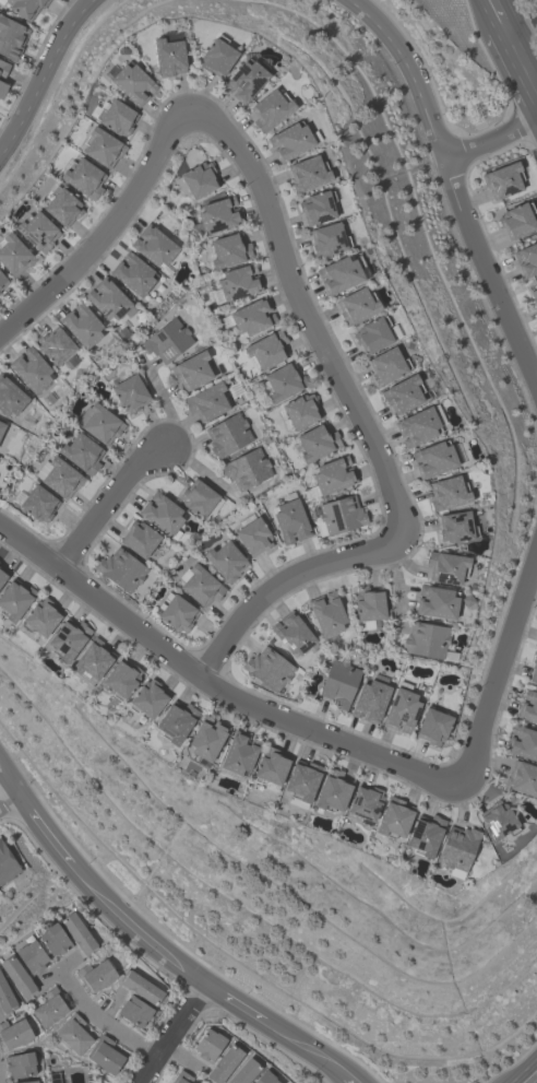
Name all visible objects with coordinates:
building: (25, 7)
road: (496, 15)
road: (520, 23)
building: (11, 37)
building: (168, 56)
building: (217, 56)
road: (520, 66)
building: (3, 69)
road: (39, 71)
road: (403, 73)
building: (246, 80)
building: (132, 83)
building: (2, 89)
building: (271, 109)
building: (112, 115)
road: (490, 138)
building: (290, 140)
building: (102, 146)
building: (308, 173)
building: (83, 177)
building: (196, 179)
building: (502, 179)
building: (62, 205)
building: (317, 207)
building: (218, 214)
building: (516, 220)
road: (96, 228)
building: (37, 231)
building: (329, 239)
building: (154, 245)
building: (229, 249)
building: (13, 255)
building: (526, 259)
building: (341, 272)
building: (133, 273)
building: (2, 281)
building: (236, 283)
road: (486, 294)
building: (534, 295)
building: (108, 299)
road: (287, 302)
building: (357, 305)
building: (250, 317)
building: (81, 325)
building: (374, 333)
building: (167, 340)
building: (55, 345)
building: (266, 350)
building: (386, 365)
building: (31, 369)
building: (191, 369)
building: (283, 381)
building: (130, 392)
building: (403, 395)
building: (10, 397)
building: (206, 401)
building: (300, 410)
building: (98, 423)
building: (1, 426)
building: (418, 426)
building: (227, 435)
building: (317, 442)
building: (81, 452)
building: (434, 459)
building: (246, 468)
building: (332, 474)
building: (58, 476)
building: (449, 493)
road: (108, 498)
building: (200, 499)
building: (37, 504)
building: (160, 513)
building: (341, 515)
building: (290, 519)
building: (456, 527)
building: (253, 534)
building: (140, 538)
building: (225, 561)
building: (446, 567)
building: (121, 569)
building: (2, 577)
road: (278, 578)
building: (200, 585)
building: (14, 601)
building: (437, 602)
building: (369, 607)
building: (175, 612)
building: (326, 614)
building: (40, 617)
building: (293, 633)
building: (68, 640)
building: (427, 641)
road: (493, 658)
building: (91, 663)
building: (267, 669)
building: (534, 670)
road: (204, 678)
building: (121, 680)
building: (338, 683)
building: (148, 698)
building: (370, 701)
building: (528, 707)
building: (402, 710)
building: (177, 722)
building: (433, 727)
building: (207, 739)
building: (522, 742)
building: (240, 753)
building: (271, 768)
road: (9, 775)
building: (522, 779)
building: (302, 784)
building: (333, 791)
road: (9, 794)
building: (366, 804)
building: (394, 819)
building: (498, 820)
road: (46, 824)
building: (426, 837)
building: (458, 849)
building: (7, 864)
road: (133, 927)
building: (76, 933)
building: (53, 940)
building: (32, 956)
road: (60, 967)
building: (95, 974)
building: (16, 976)
building: (142, 989)
building: (5, 997)
road: (235, 1001)
building: (50, 1008)
building: (134, 1011)
road: (103, 1017)
road: (172, 1032)
building: (13, 1034)
building: (73, 1034)
building: (208, 1045)
road: (303, 1048)
building: (105, 1056)
building: (20, 1064)
building: (224, 1064)
building: (244, 1072)
building: (180, 1078)
building: (264, 1078)
road: (532, 1078)
road: (347, 1079)
building: (28, 1082)

